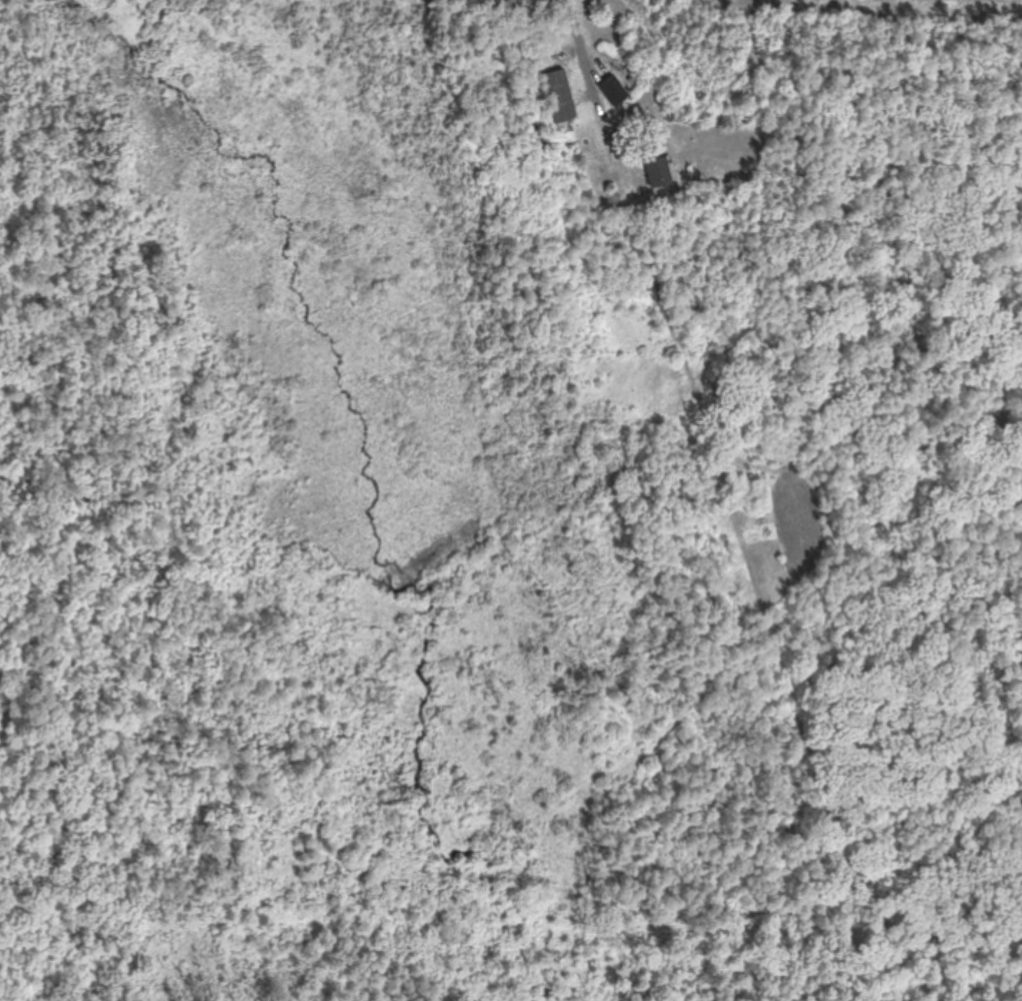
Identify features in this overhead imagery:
building: (560, 96)
building: (657, 173)

